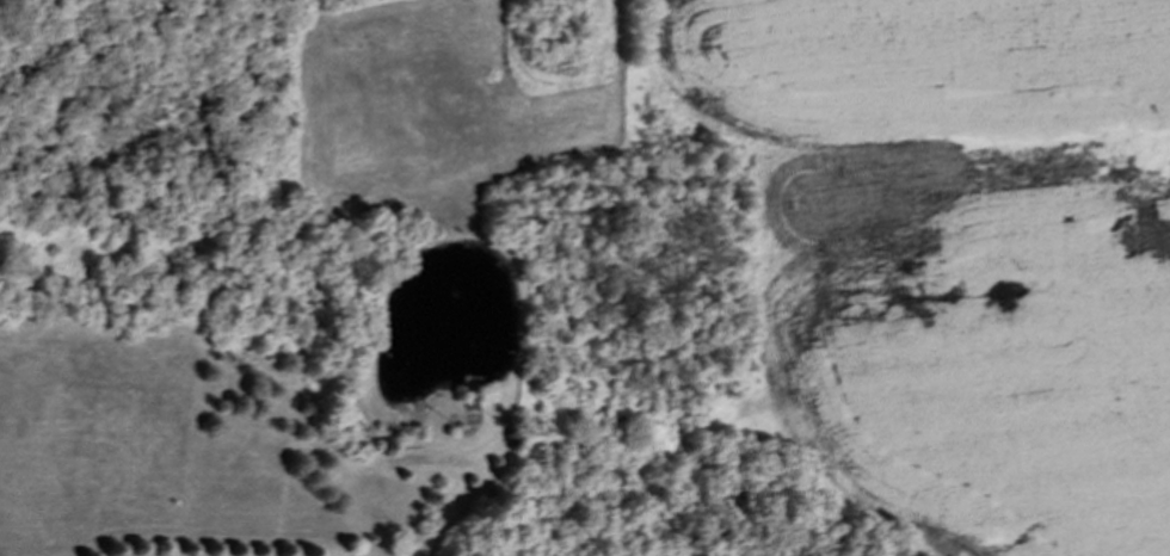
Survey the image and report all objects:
crop: (965, 252)

